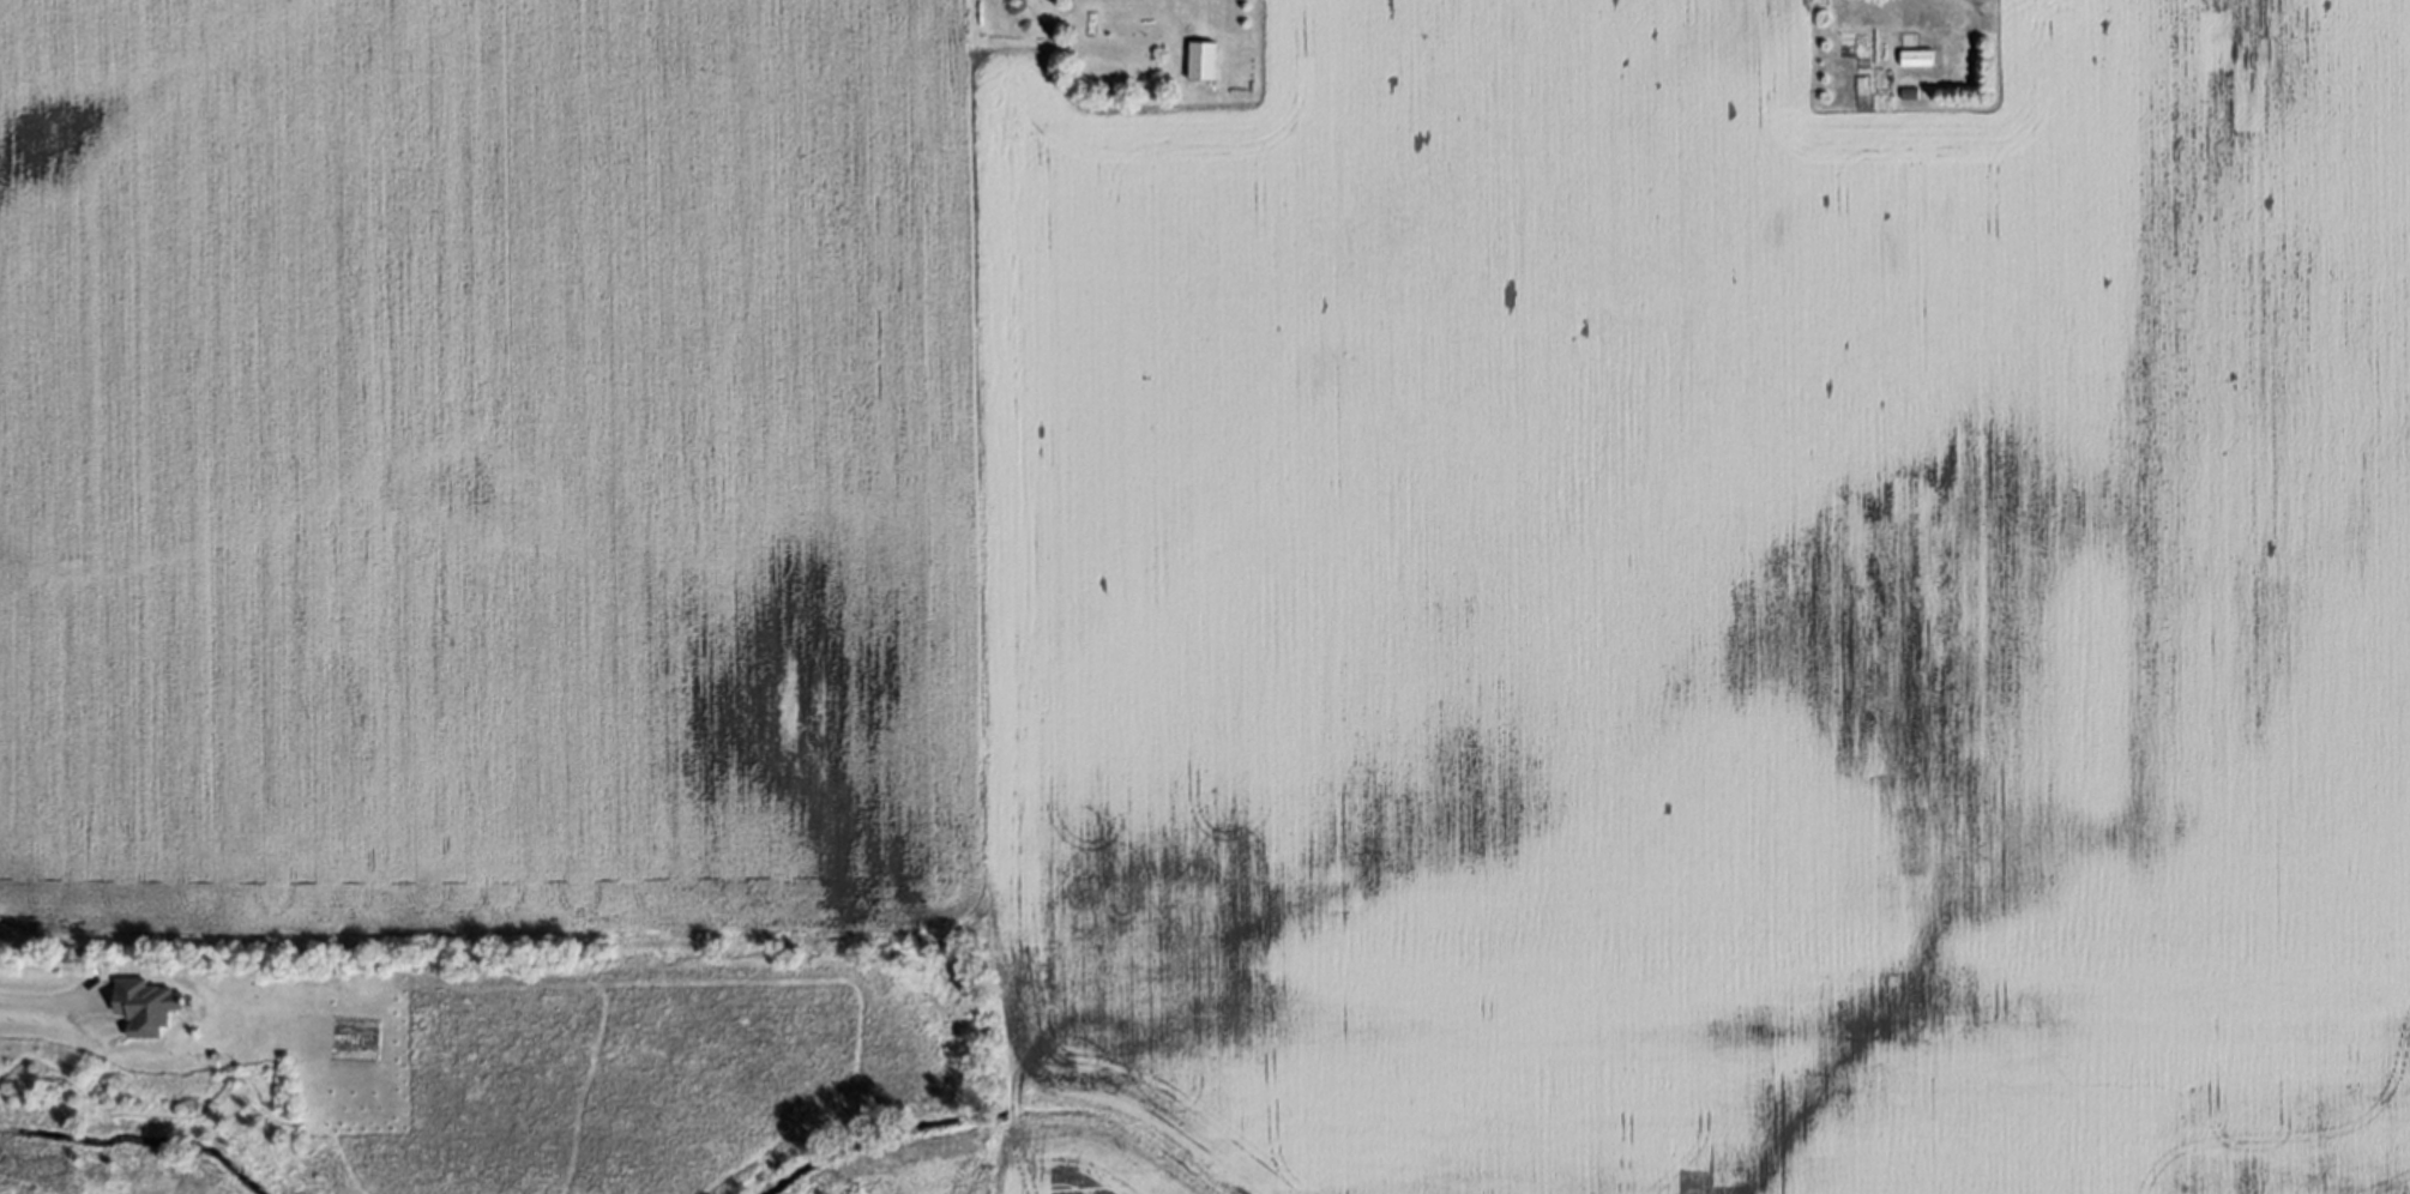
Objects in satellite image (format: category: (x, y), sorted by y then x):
building: (1915, 58)
building: (1198, 60)
building: (1908, 94)
road: (42, 997)
building: (146, 1007)

